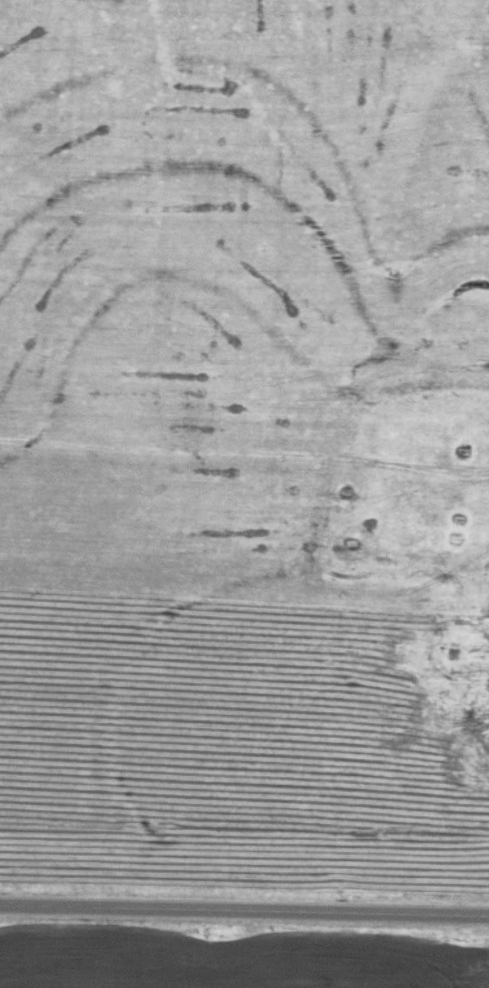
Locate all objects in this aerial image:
airport runway: (244, 650)
road: (244, 911)

